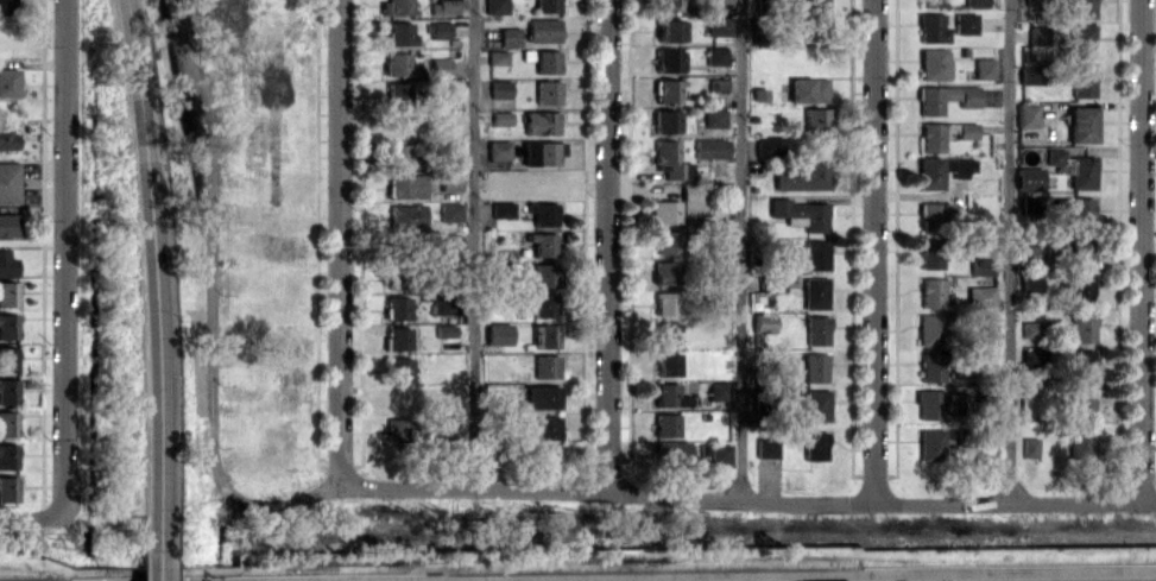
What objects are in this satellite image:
building: (719, 1)
building: (930, 2)
building: (974, 2)
building: (809, 4)
building: (547, 5)
building: (669, 5)
building: (443, 6)
building: (495, 6)
building: (6, 7)
building: (396, 7)
building: (1081, 8)
building: (965, 23)
building: (718, 25)
building: (931, 27)
building: (437, 29)
building: (542, 30)
building: (669, 30)
building: (399, 33)
building: (1037, 34)
building: (508, 36)
building: (1081, 40)
building: (714, 55)
building: (497, 56)
building: (667, 59)
building: (545, 61)
building: (397, 63)
building: (934, 63)
building: (441, 67)
building: (984, 68)
building: (1029, 74)
building: (1082, 81)
building: (8, 82)
building: (499, 88)
building: (807, 89)
building: (667, 90)
building: (547, 91)
building: (397, 94)
building: (945, 97)
building: (1026, 114)
building: (500, 118)
building: (713, 118)
building: (816, 119)
building: (541, 121)
building: (664, 121)
building: (1080, 124)
building: (931, 134)
building: (7, 139)
building: (770, 145)
building: (710, 147)
building: (498, 150)
building: (541, 152)
building: (398, 154)
building: (1054, 156)
building: (670, 159)
building: (940, 169)
building: (1082, 172)
building: (802, 175)
building: (1028, 177)
building: (449, 181)
building: (8, 182)
building: (406, 185)
building: (691, 200)
building: (1030, 201)
building: (501, 209)
building: (663, 210)
building: (1078, 210)
building: (449, 211)
building: (801, 211)
building: (542, 213)
building: (406, 215)
building: (936, 215)
building: (7, 225)
road: (337, 241)
building: (667, 241)
road: (473, 242)
building: (403, 244)
building: (448, 244)
building: (542, 244)
road: (607, 245)
building: (815, 246)
road: (739, 247)
building: (1081, 250)
road: (872, 251)
road: (1009, 251)
road: (1139, 251)
building: (929, 253)
building: (1031, 254)
road: (151, 257)
road: (68, 258)
building: (6, 264)
building: (981, 265)
building: (664, 272)
building: (543, 274)
building: (396, 282)
building: (1029, 282)
building: (1080, 285)
building: (814, 292)
building: (931, 292)
building: (7, 293)
building: (719, 296)
building: (980, 296)
road: (213, 301)
building: (665, 302)
building: (543, 304)
building: (397, 308)
building: (763, 322)
building: (986, 324)
building: (7, 326)
building: (1081, 327)
building: (1030, 328)
building: (816, 329)
building: (929, 329)
building: (665, 333)
building: (498, 335)
building: (544, 335)
building: (397, 337)
building: (7, 358)
building: (1031, 358)
building: (667, 364)
building: (1079, 365)
building: (545, 366)
building: (930, 366)
building: (814, 367)
building: (398, 368)
building: (716, 390)
building: (7, 391)
building: (669, 394)
building: (541, 396)
building: (937, 403)
building: (1080, 403)
building: (816, 404)
building: (7, 423)
building: (664, 424)
building: (547, 427)
building: (447, 428)
building: (397, 429)
building: (1080, 441)
building: (814, 444)
building: (930, 444)
building: (766, 447)
building: (1029, 447)
building: (670, 451)
building: (719, 453)
building: (7, 455)
building: (7, 488)
road: (746, 495)
road: (33, 517)
road: (153, 548)

